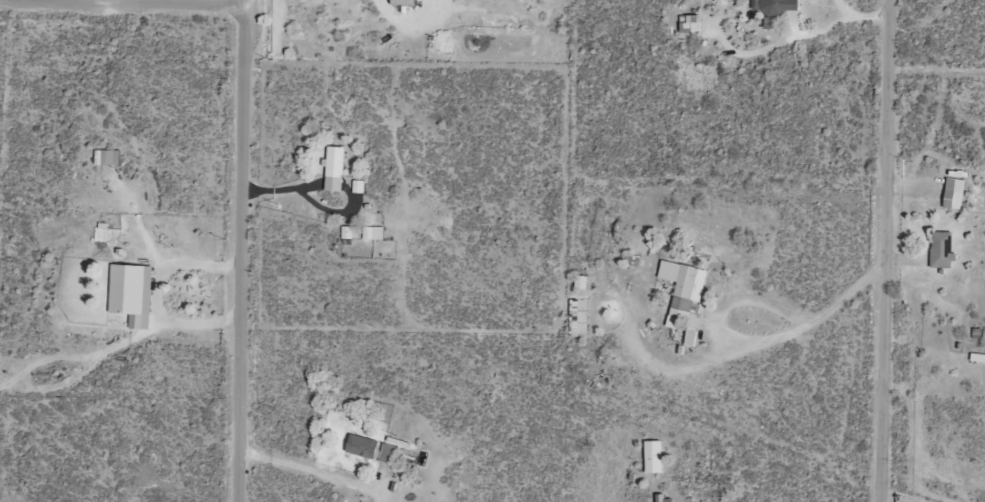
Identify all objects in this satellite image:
building: (404, 2)
road: (128, 3)
building: (772, 7)
building: (107, 157)
building: (335, 169)
building: (953, 195)
building: (348, 235)
road: (885, 250)
building: (940, 250)
road: (240, 251)
building: (127, 289)
building: (686, 296)
building: (572, 319)
building: (689, 339)
building: (361, 447)
building: (389, 454)
building: (652, 458)
building: (662, 500)

